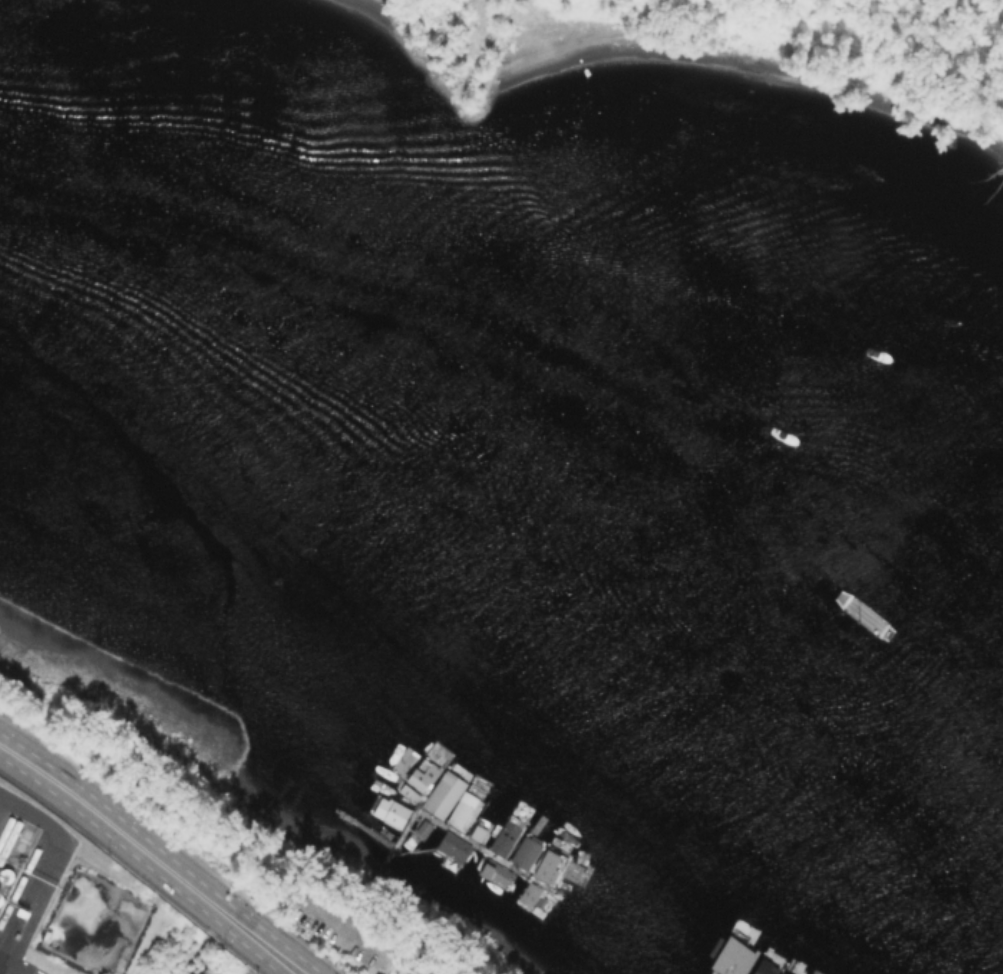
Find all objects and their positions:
river: (501, 526)
building: (421, 774)
building: (408, 794)
building: (443, 794)
building: (463, 810)
building: (505, 836)
pier: (465, 841)
road: (172, 846)
pier: (387, 850)
building: (524, 852)
road: (152, 856)
building: (549, 865)
road: (132, 869)
building: (495, 872)
railway: (21, 880)
road: (398, 953)
building: (732, 957)
building: (764, 967)
building: (780, 973)

